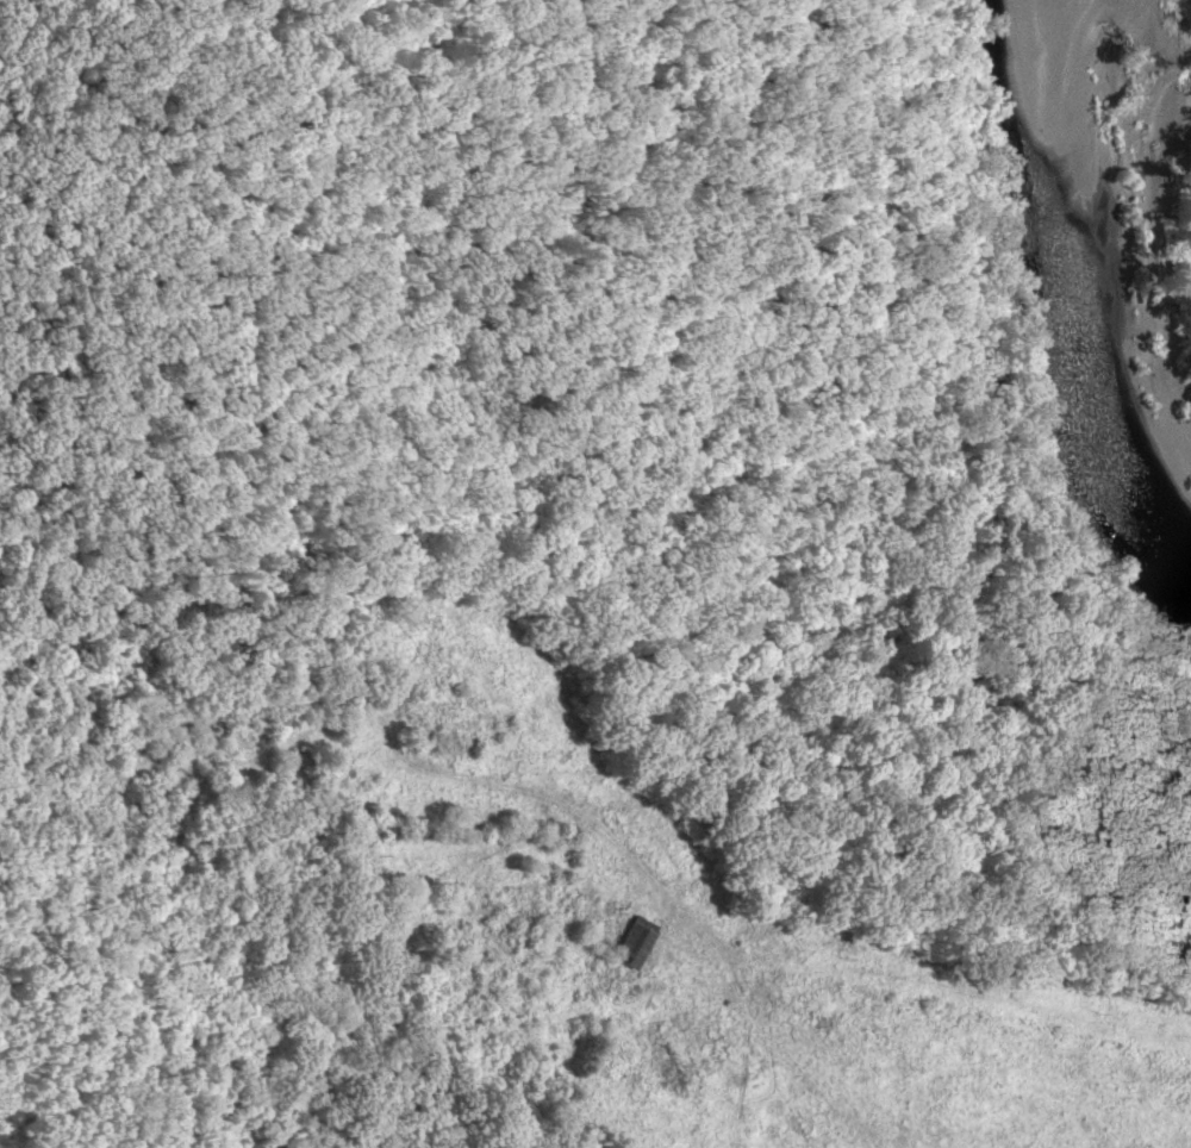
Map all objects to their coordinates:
river: (1048, 308)
road: (183, 635)
building: (298, 769)

